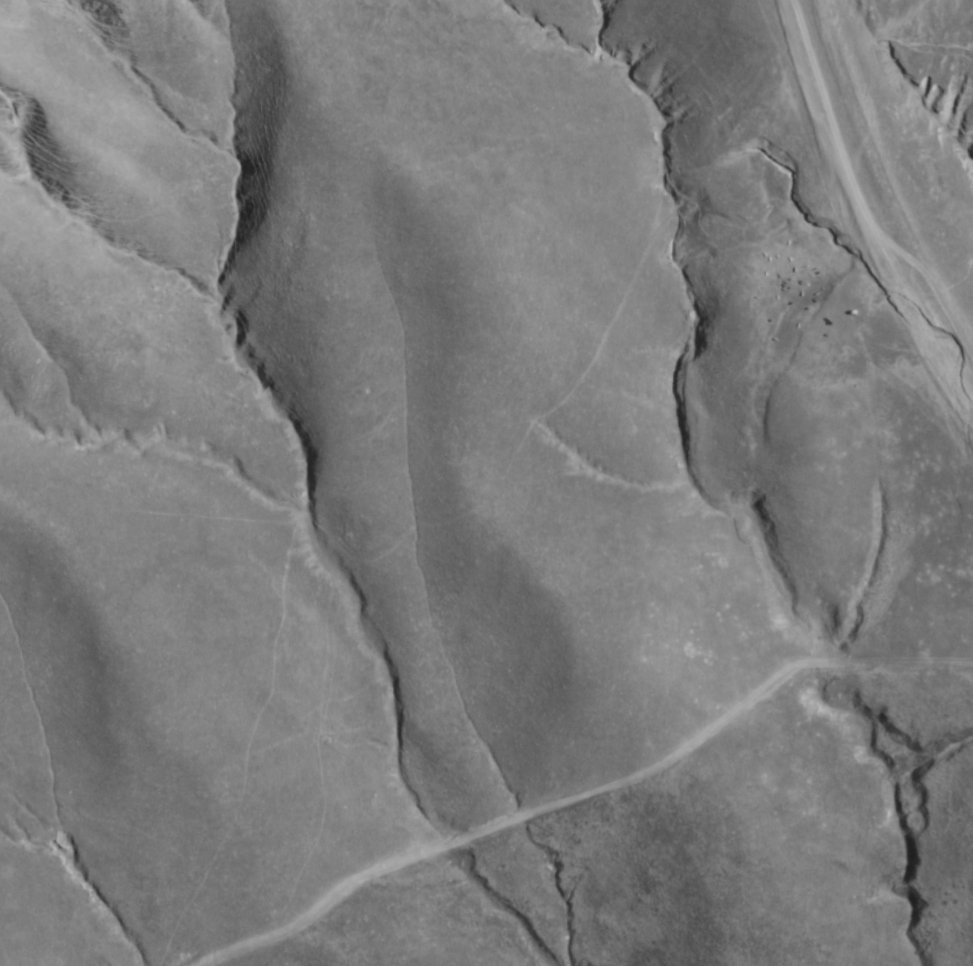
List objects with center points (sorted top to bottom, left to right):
road: (860, 275)

